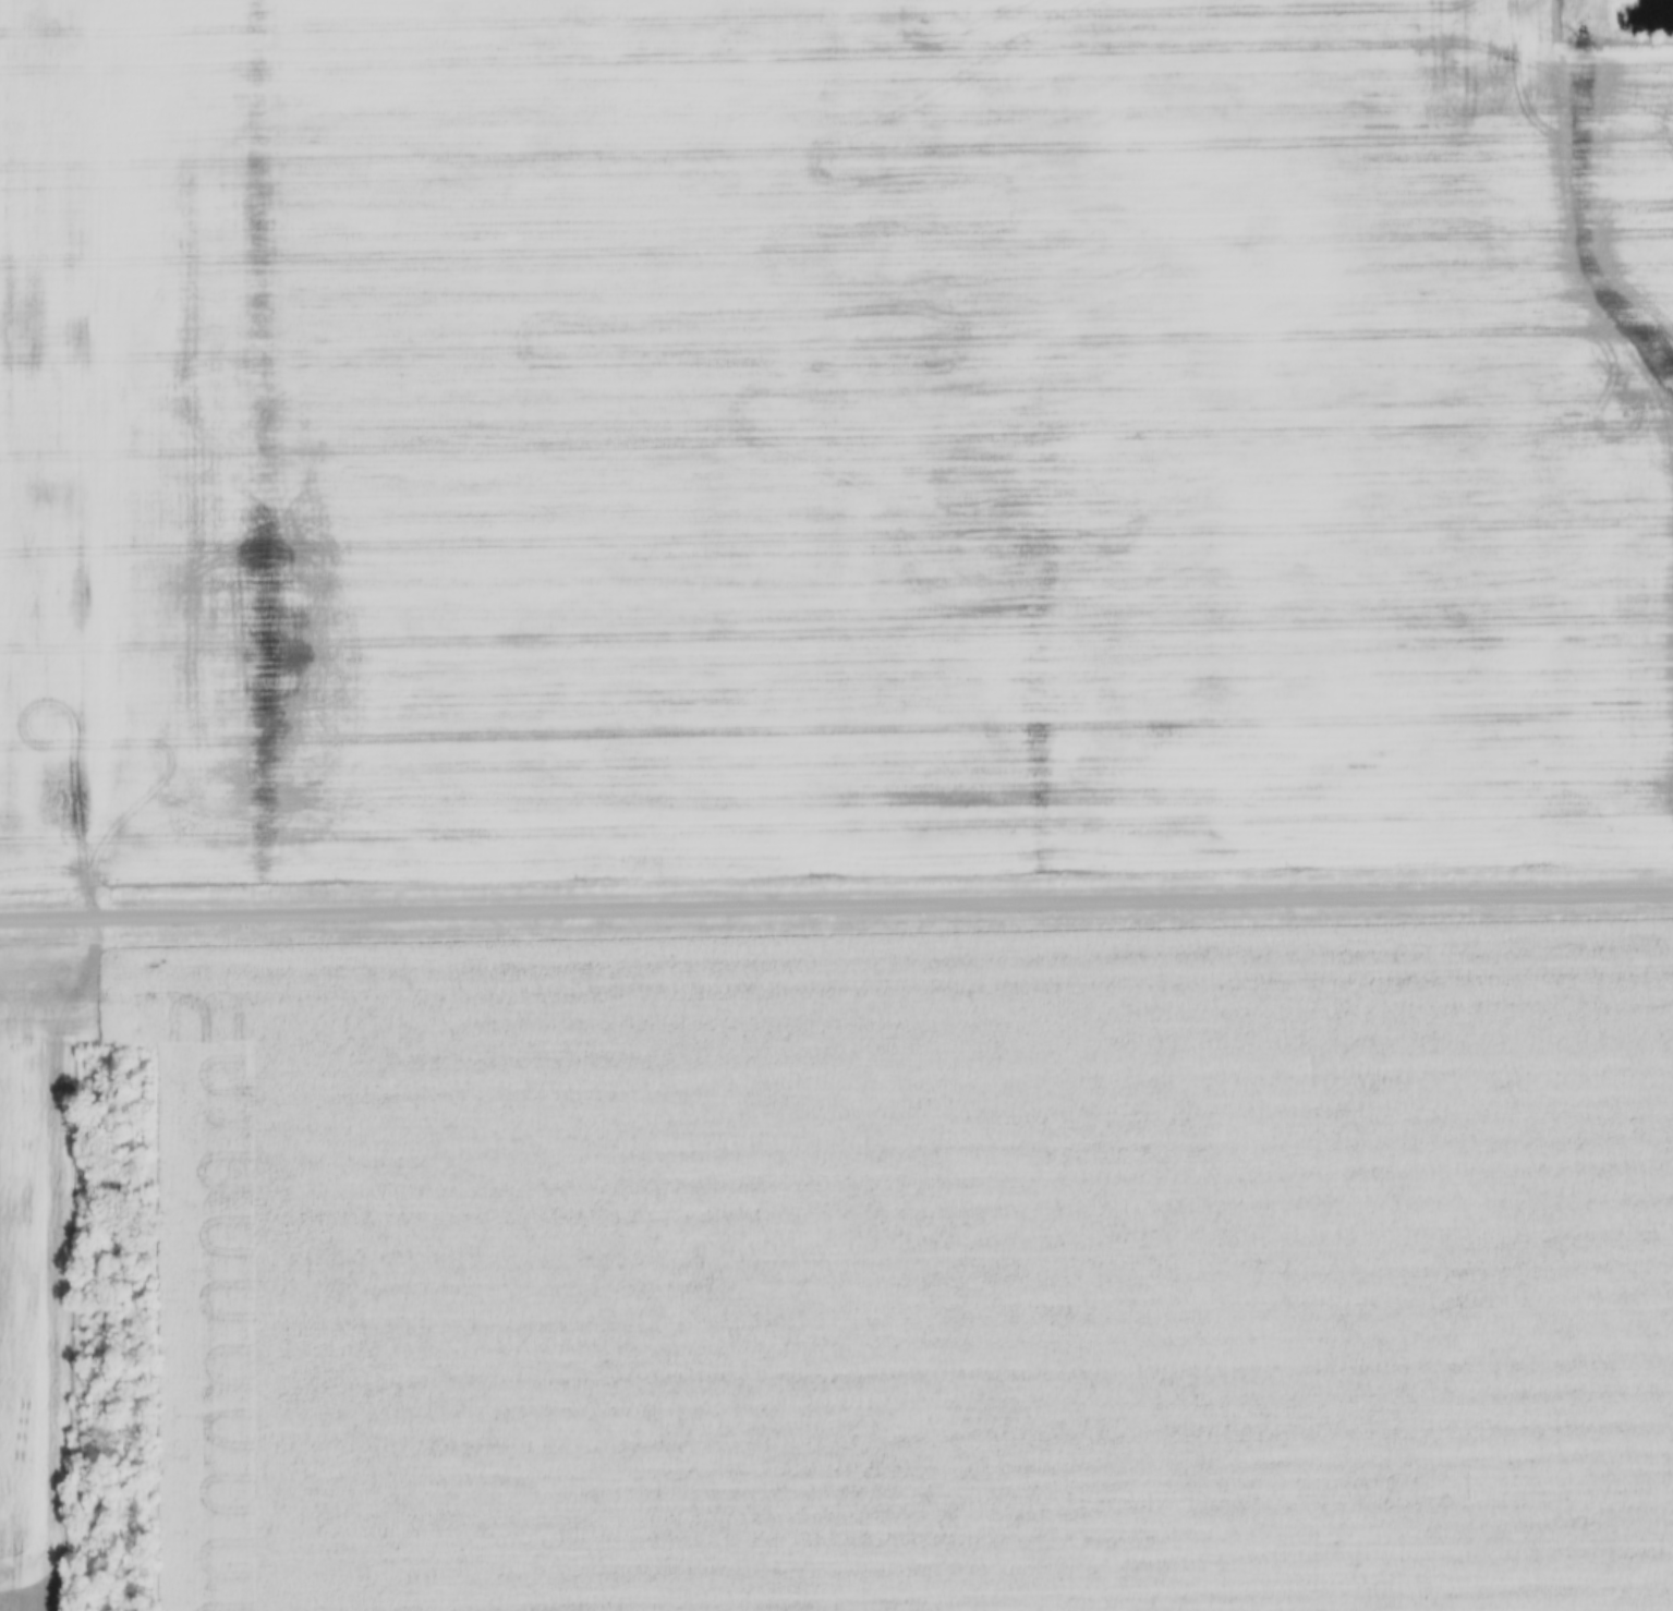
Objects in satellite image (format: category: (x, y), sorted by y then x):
road: (836, 909)
road: (68, 1262)

